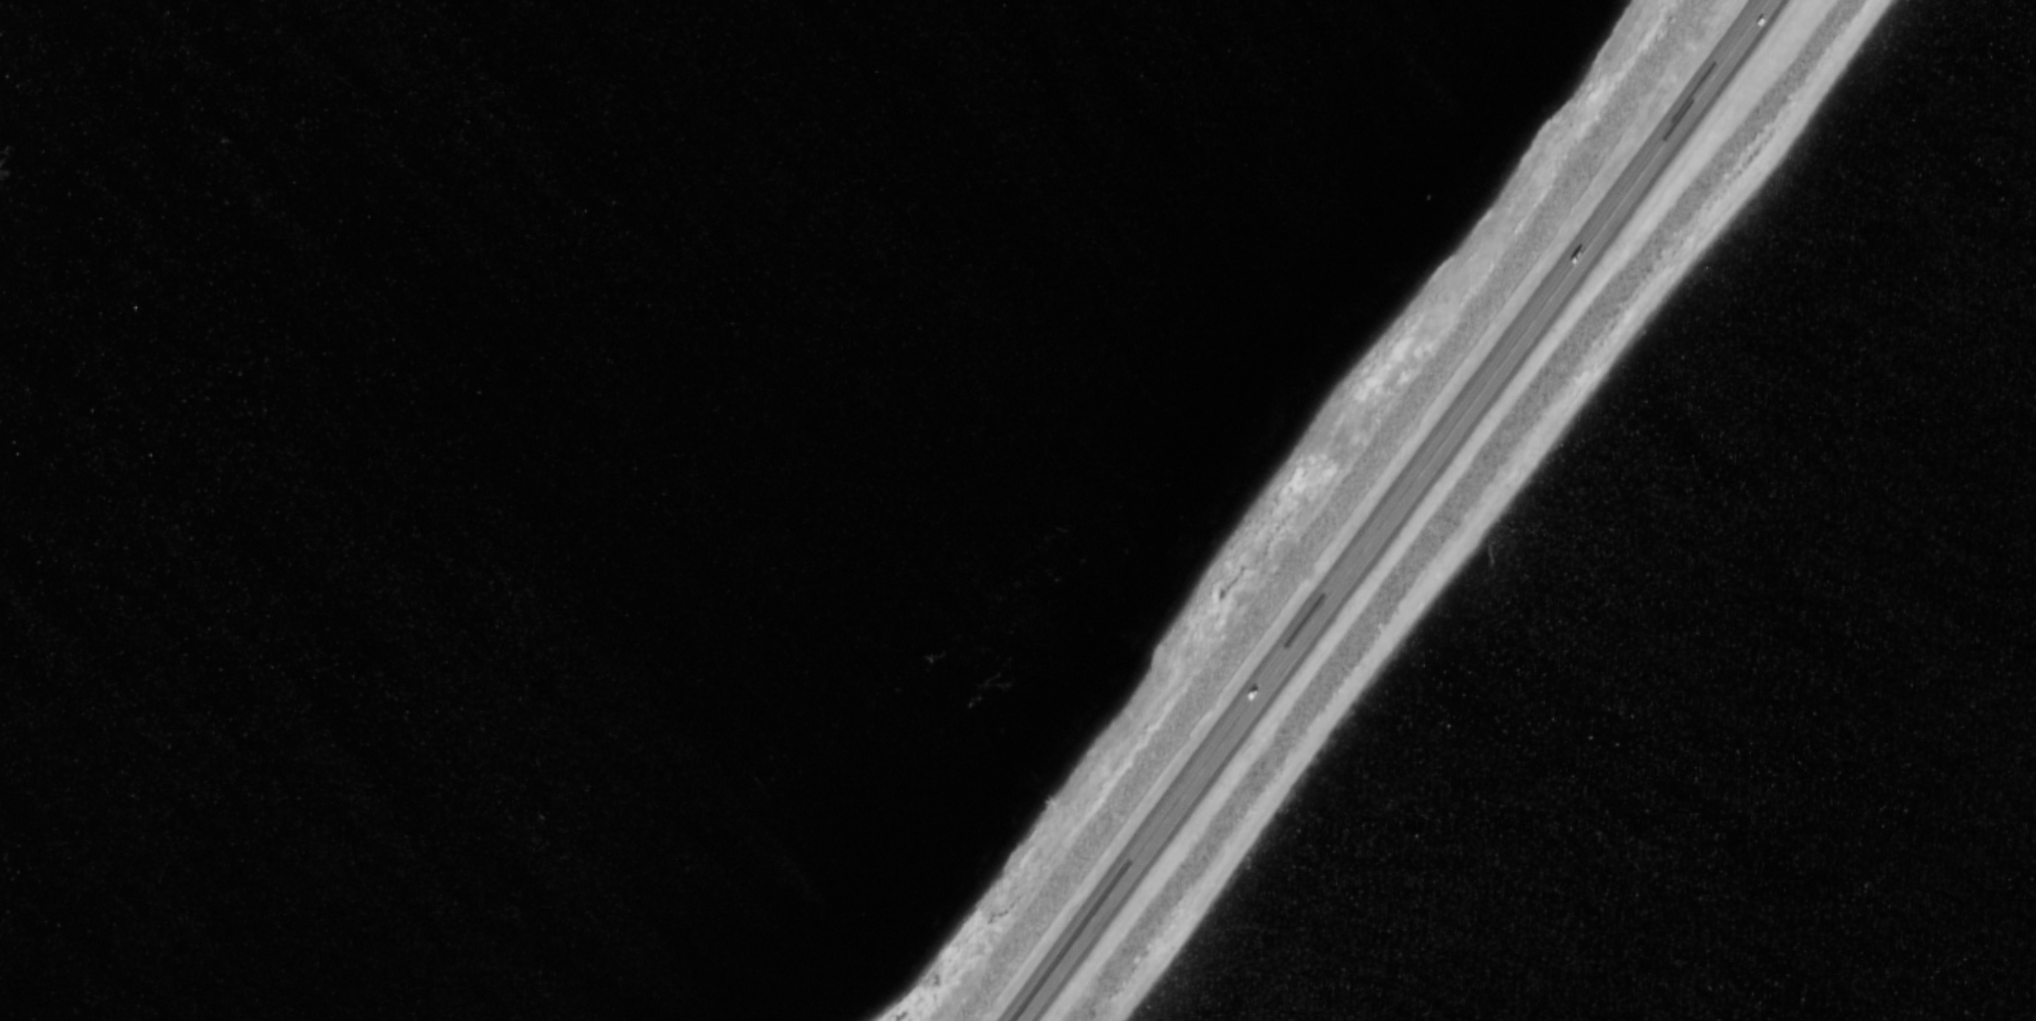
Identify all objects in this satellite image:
road: (1398, 510)

